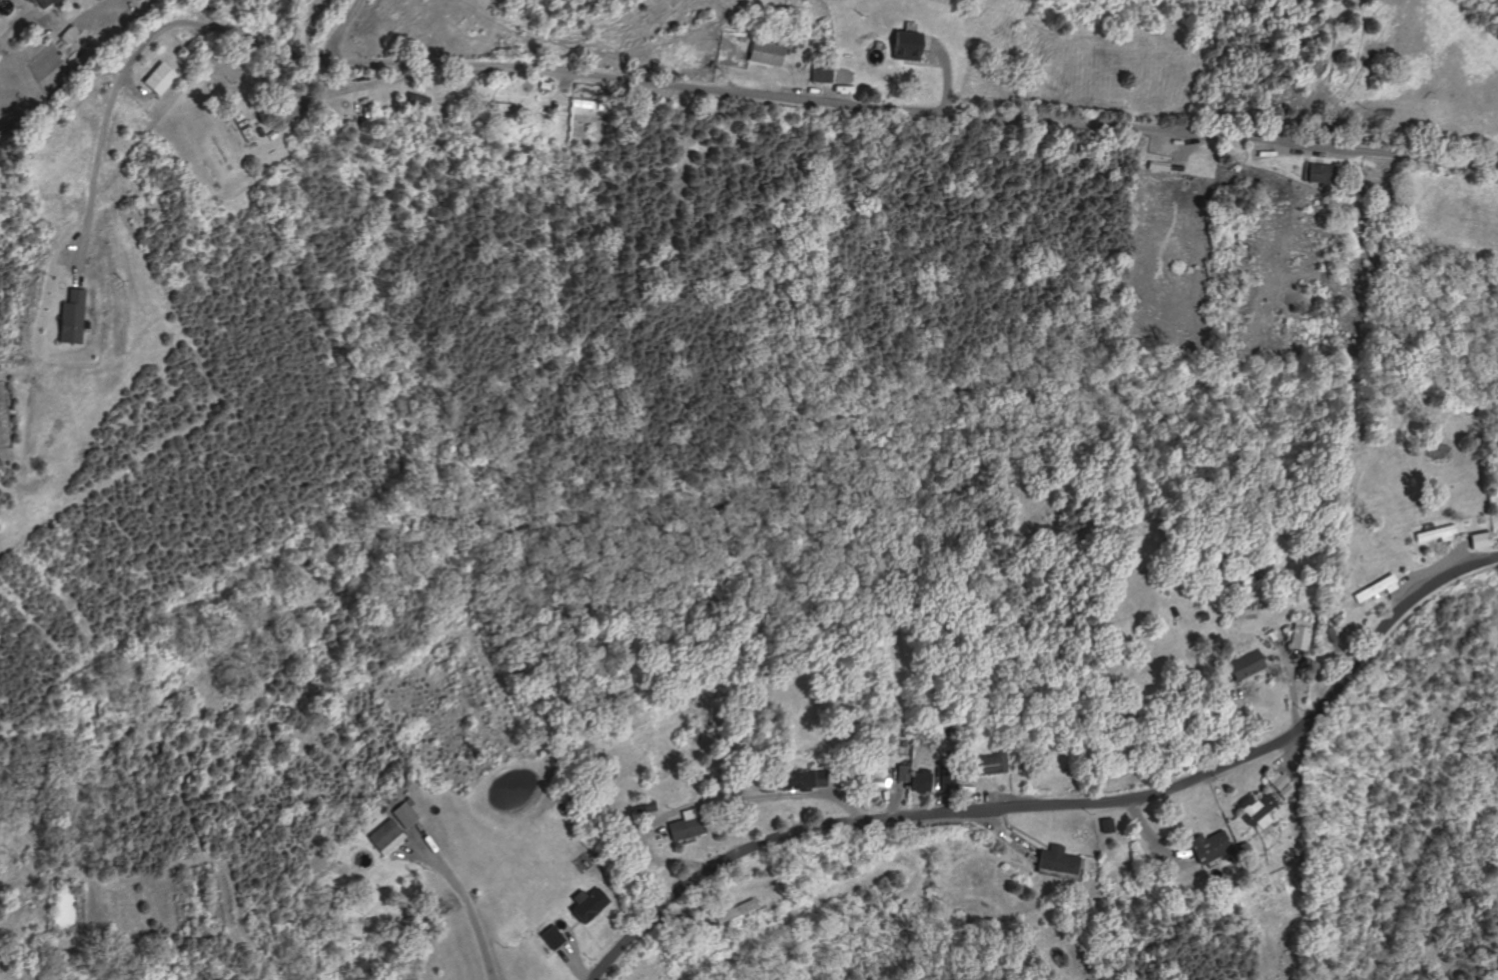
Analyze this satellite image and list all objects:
building: (47, 3)
road: (96, 12)
road: (306, 27)
road: (341, 29)
building: (72, 34)
building: (905, 45)
building: (765, 53)
road: (922, 64)
road: (945, 68)
building: (821, 70)
building: (161, 79)
road: (797, 80)
road: (495, 83)
building: (543, 85)
road: (136, 87)
road: (350, 90)
building: (416, 98)
building: (588, 103)
road: (839, 103)
building: (497, 105)
building: (364, 106)
building: (462, 114)
road: (106, 118)
building: (231, 124)
building: (240, 125)
building: (257, 131)
building: (269, 134)
road: (1173, 141)
road: (1280, 148)
building: (1157, 165)
building: (1296, 166)
building: (1322, 172)
building: (72, 316)
building: (1464, 522)
building: (1434, 534)
building: (1477, 540)
road: (1468, 557)
road: (1425, 573)
building: (1246, 580)
building: (1233, 586)
building: (1374, 588)
building: (1173, 611)
building: (1201, 616)
building: (1335, 620)
building: (1329, 633)
building: (1301, 634)
building: (1247, 664)
road: (1291, 682)
road: (1242, 723)
building: (628, 727)
building: (945, 730)
building: (872, 746)
building: (1039, 752)
road: (1292, 756)
building: (960, 757)
road: (1284, 758)
building: (986, 763)
building: (958, 769)
building: (900, 773)
building: (873, 774)
building: (945, 774)
building: (1272, 776)
building: (706, 778)
building: (800, 779)
building: (918, 780)
building: (1280, 781)
building: (404, 782)
road: (896, 790)
building: (1284, 790)
road: (890, 792)
road: (929, 792)
road: (936, 792)
road: (1296, 796)
building: (407, 801)
road: (708, 802)
road: (989, 802)
road: (1060, 804)
building: (647, 806)
building: (637, 809)
building: (1255, 809)
building: (402, 815)
building: (685, 825)
building: (1107, 826)
road: (1022, 831)
building: (381, 834)
road: (1175, 835)
road: (1005, 837)
road: (1152, 842)
building: (1209, 846)
building: (1242, 846)
building: (1059, 859)
road: (462, 895)
building: (585, 903)
building: (1213, 905)
building: (738, 911)
road: (673, 915)
road: (571, 927)
building: (549, 937)
road: (569, 942)
road: (571, 963)

